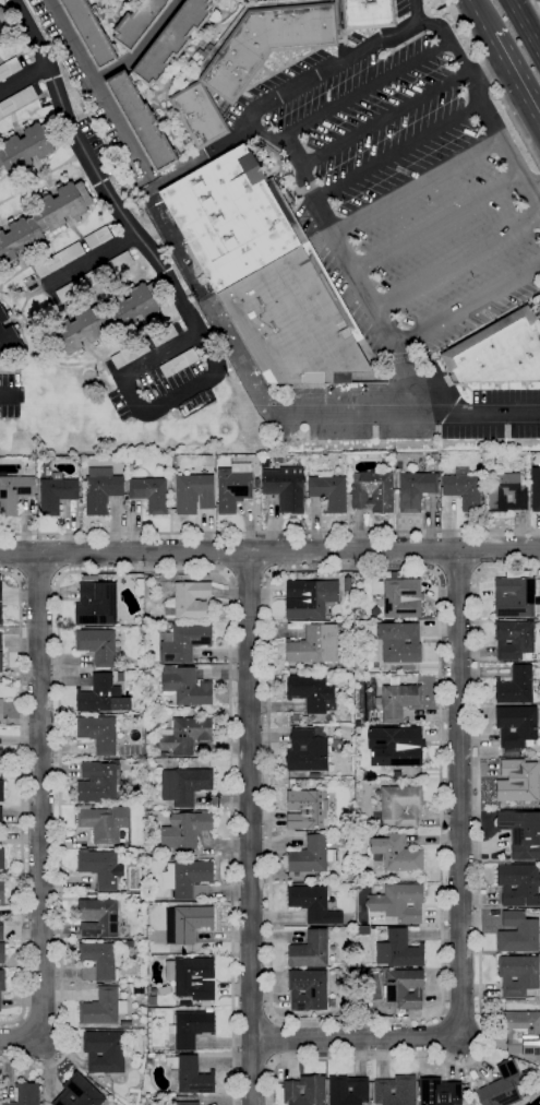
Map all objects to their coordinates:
road: (537, 3)
road: (413, 10)
building: (368, 14)
road: (477, 19)
building: (137, 22)
building: (4, 24)
road: (524, 26)
building: (88, 33)
road: (536, 38)
building: (171, 40)
building: (266, 44)
road: (140, 47)
building: (118, 48)
building: (9, 68)
road: (485, 74)
road: (23, 78)
road: (493, 81)
road: (514, 84)
road: (99, 90)
road: (361, 92)
building: (16, 100)
building: (224, 108)
building: (199, 115)
road: (380, 119)
building: (141, 122)
road: (253, 123)
building: (27, 146)
road: (398, 152)
road: (203, 156)
road: (95, 171)
road: (417, 186)
parking lot: (403, 188)
road: (537, 194)
building: (43, 221)
road: (436, 222)
building: (98, 237)
road: (91, 259)
building: (59, 260)
road: (457, 260)
building: (119, 262)
building: (264, 271)
building: (81, 284)
building: (105, 319)
building: (163, 334)
building: (8, 335)
building: (499, 352)
building: (130, 354)
building: (179, 363)
road: (397, 378)
parking lot: (157, 382)
parking lot: (9, 394)
road: (4, 396)
road: (275, 409)
road: (141, 413)
parking lot: (496, 416)
building: (433, 455)
building: (489, 462)
building: (264, 463)
building: (285, 487)
building: (101, 489)
building: (231, 489)
building: (415, 489)
building: (536, 489)
building: (328, 490)
building: (464, 490)
building: (372, 491)
building: (506, 491)
building: (14, 492)
building: (149, 492)
building: (193, 492)
building: (56, 494)
road: (269, 532)
road: (437, 550)
road: (480, 550)
road: (269, 551)
road: (275, 551)
road: (226, 552)
road: (19, 556)
road: (58, 556)
road: (133, 571)
road: (458, 571)
road: (247, 574)
building: (319, 574)
road: (39, 577)
building: (89, 578)
building: (140, 586)
building: (0, 592)
building: (517, 595)
building: (309, 598)
building: (401, 598)
building: (189, 602)
building: (96, 604)
building: (0, 615)
building: (514, 639)
building: (0, 641)
building: (184, 642)
building: (399, 642)
building: (315, 643)
building: (97, 645)
building: (1, 662)
building: (149, 667)
building: (291, 670)
building: (120, 676)
building: (184, 686)
building: (516, 686)
building: (311, 693)
building: (101, 696)
building: (396, 700)
building: (1, 710)
building: (293, 717)
building: (516, 725)
building: (98, 734)
building: (185, 735)
building: (336, 746)
building: (395, 746)
building: (308, 750)
building: (511, 752)
building: (164, 755)
building: (1, 759)
building: (314, 775)
building: (100, 782)
building: (517, 782)
building: (184, 785)
building: (1, 791)
road: (39, 794)
road: (22, 799)
building: (400, 806)
building: (308, 808)
building: (1, 815)
building: (104, 823)
road: (250, 828)
building: (184, 829)
building: (521, 833)
building: (166, 853)
building: (395, 854)
building: (311, 856)
building: (171, 858)
building: (2, 859)
building: (100, 868)
building: (188, 879)
building: (518, 884)
building: (2, 893)
building: (82, 895)
building: (148, 898)
building: (141, 899)
road: (460, 899)
building: (399, 902)
building: (313, 904)
road: (479, 912)
building: (97, 917)
building: (187, 924)
building: (362, 930)
building: (1, 932)
building: (518, 932)
building: (129, 943)
building: (399, 950)
building: (310, 951)
building: (2, 953)
building: (97, 961)
building: (518, 975)
building: (194, 978)
building: (2, 981)
building: (404, 987)
building: (308, 990)
building: (137, 991)
building: (152, 1001)
building: (0, 1005)
building: (100, 1005)
road: (440, 1011)
road: (254, 1018)
building: (125, 1023)
building: (112, 1027)
building: (191, 1027)
building: (107, 1029)
building: (523, 1032)
road: (275, 1038)
road: (19, 1041)
building: (105, 1051)
building: (151, 1055)
building: (148, 1060)
road: (253, 1060)
building: (525, 1073)
building: (189, 1074)
building: (502, 1086)
building: (347, 1090)
building: (304, 1091)
building: (395, 1091)
building: (79, 1092)
building: (440, 1092)
building: (26, 1094)
building: (159, 1101)
building: (185, 1103)

